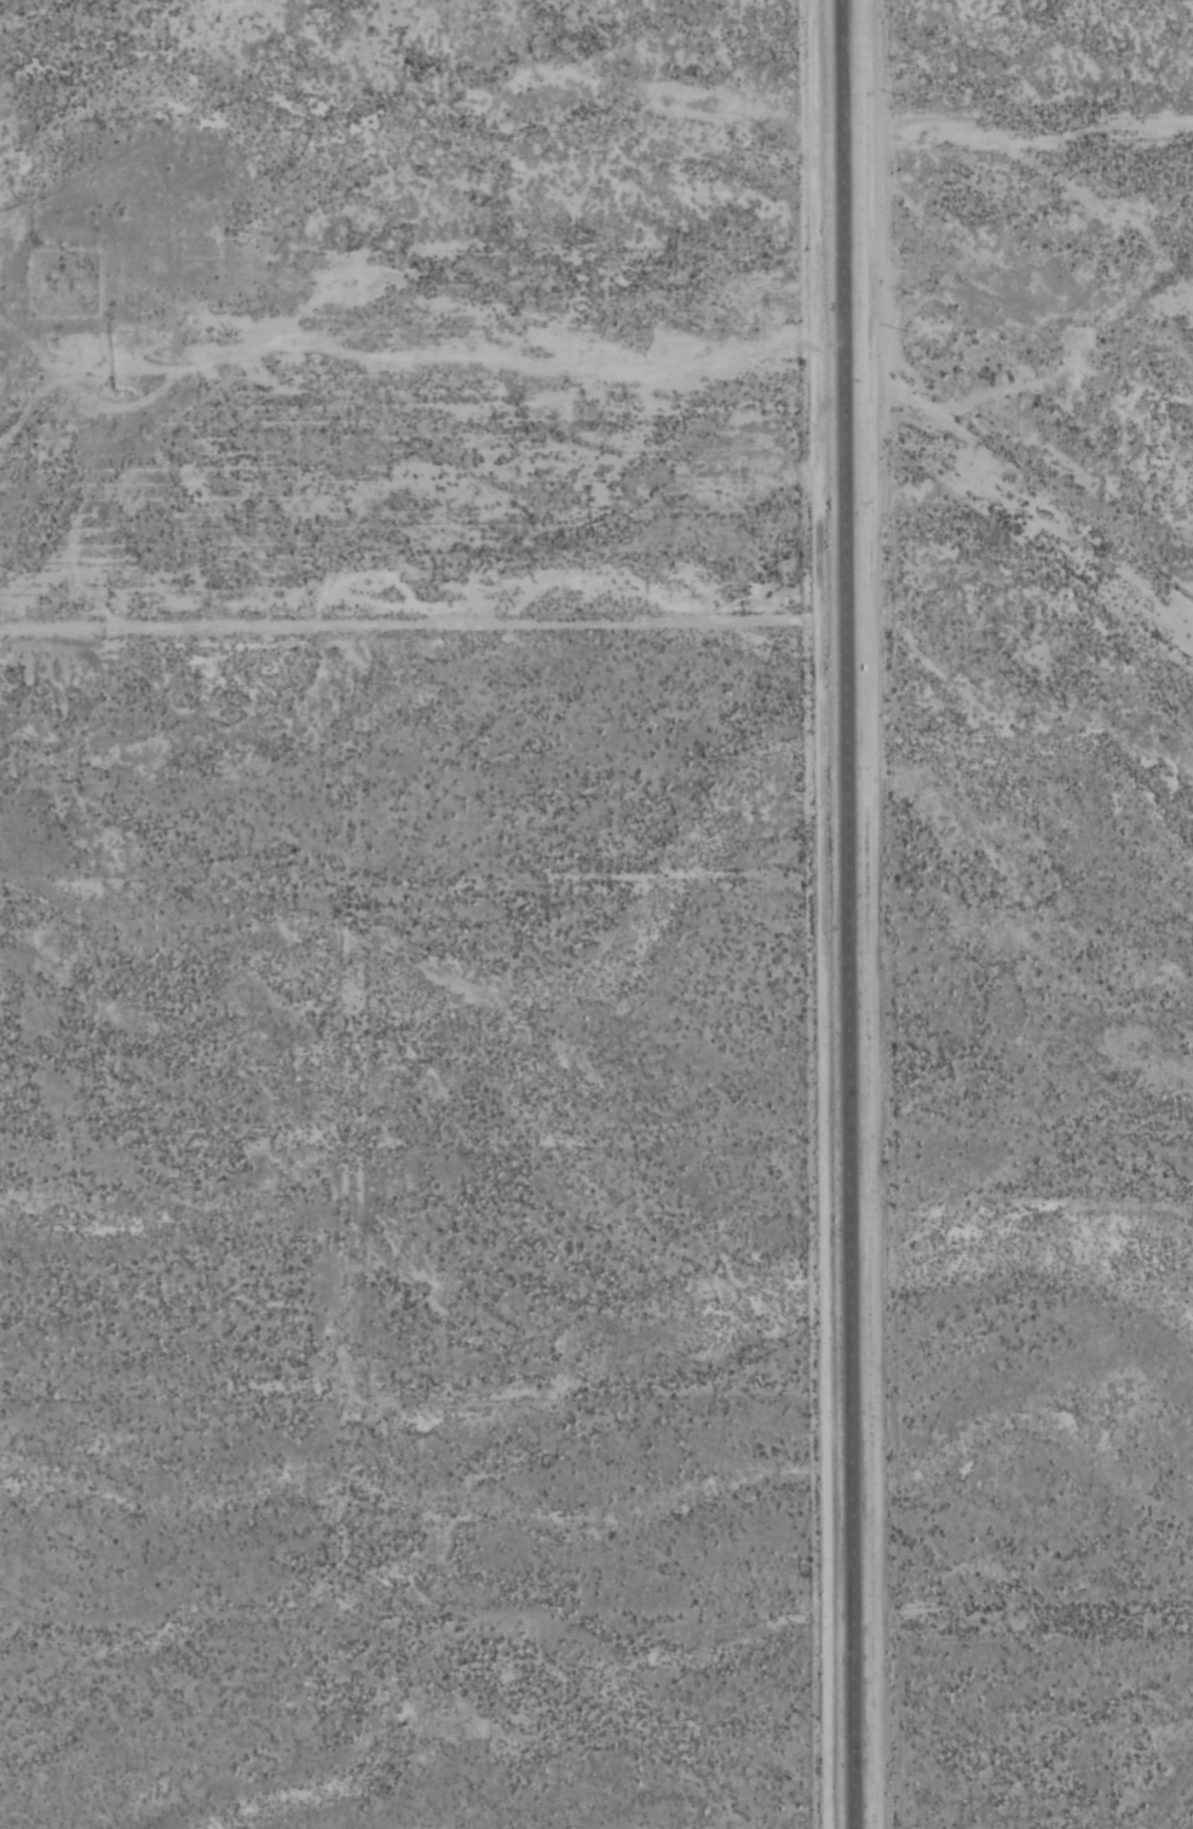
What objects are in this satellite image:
road: (847, 914)

